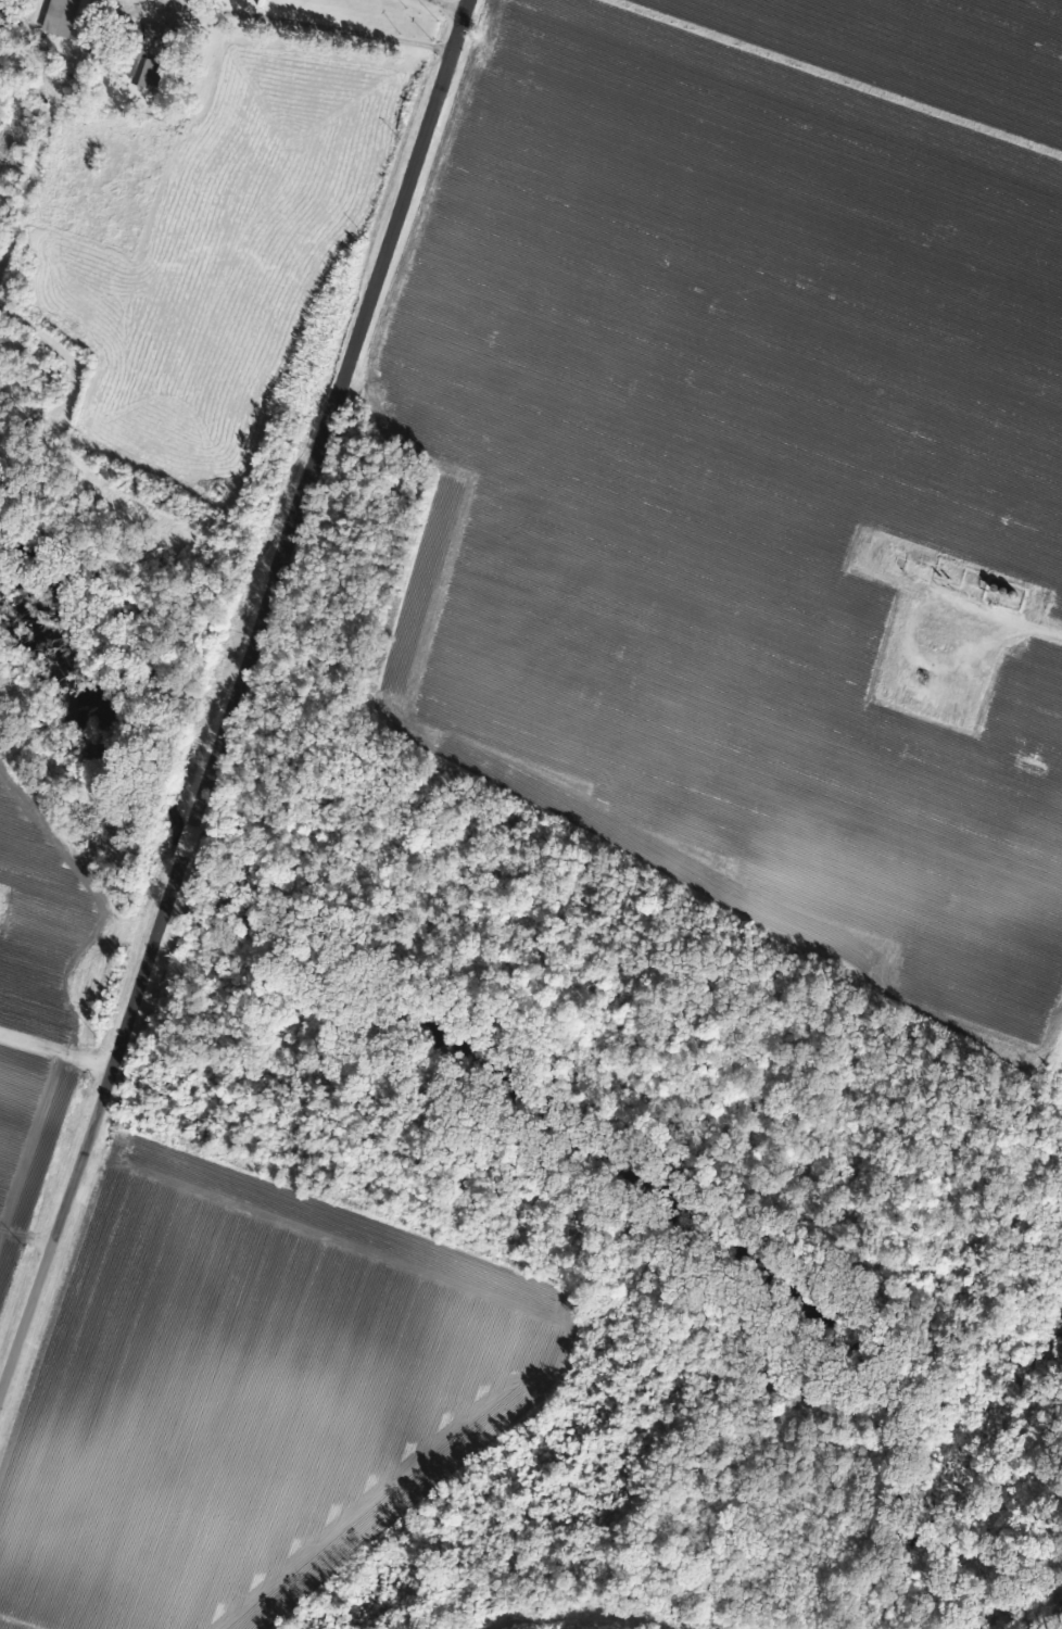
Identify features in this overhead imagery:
road: (451, 5)
building: (66, 17)
road: (309, 23)
building: (152, 29)
building: (142, 66)
road: (330, 425)
road: (188, 856)
road: (92, 1141)

